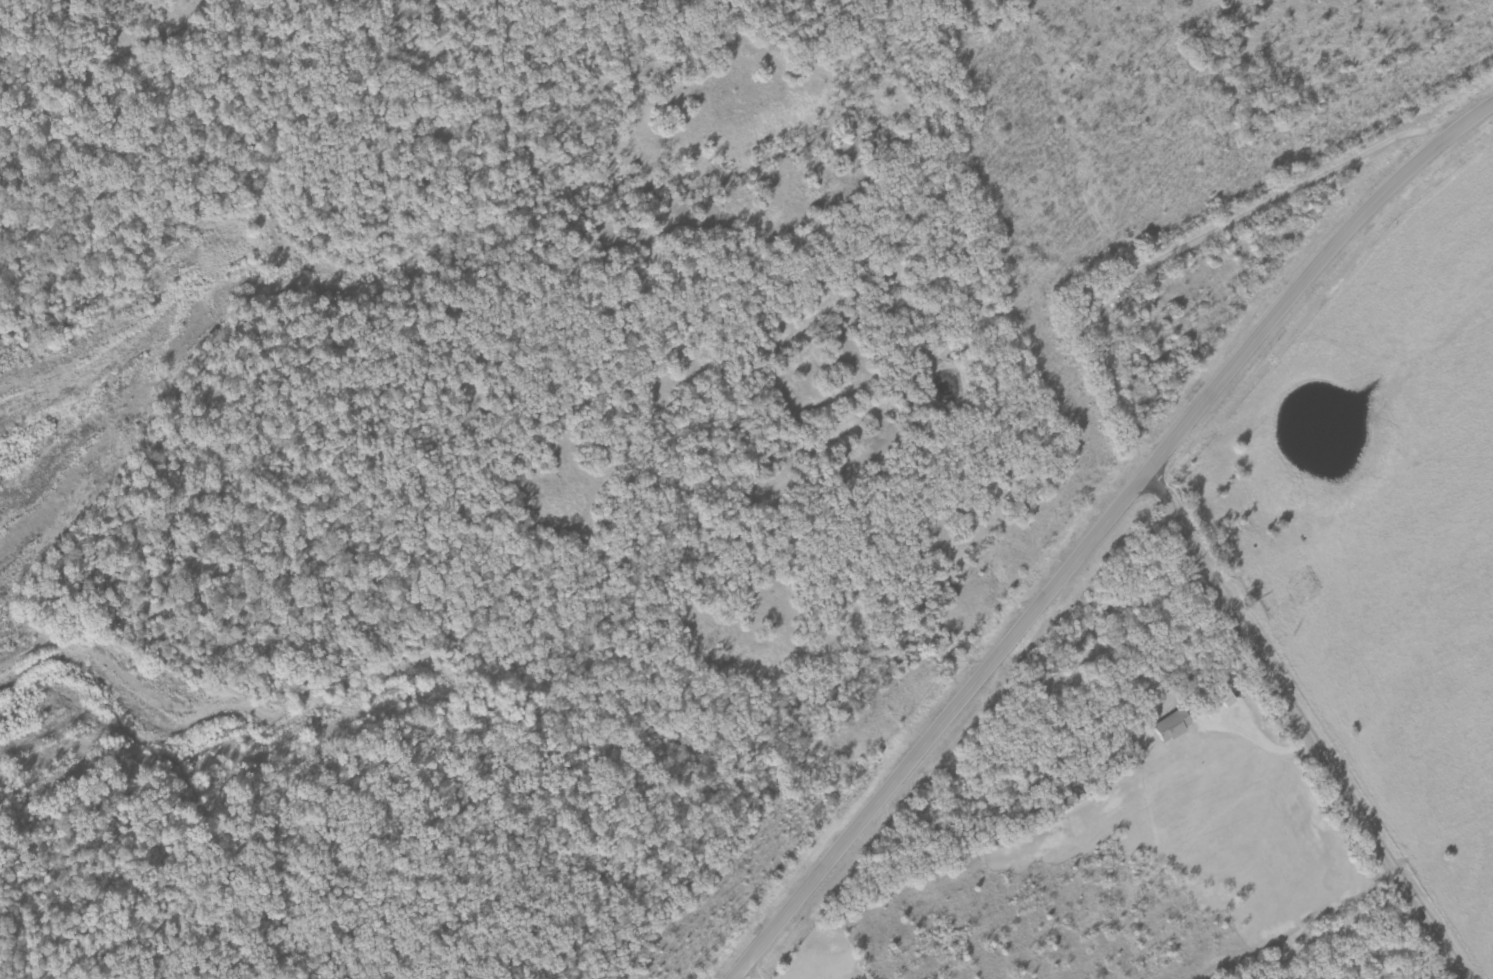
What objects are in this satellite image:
road: (1070, 142)
road: (1148, 470)
road: (1106, 531)
building: (1231, 699)
building: (1177, 725)

